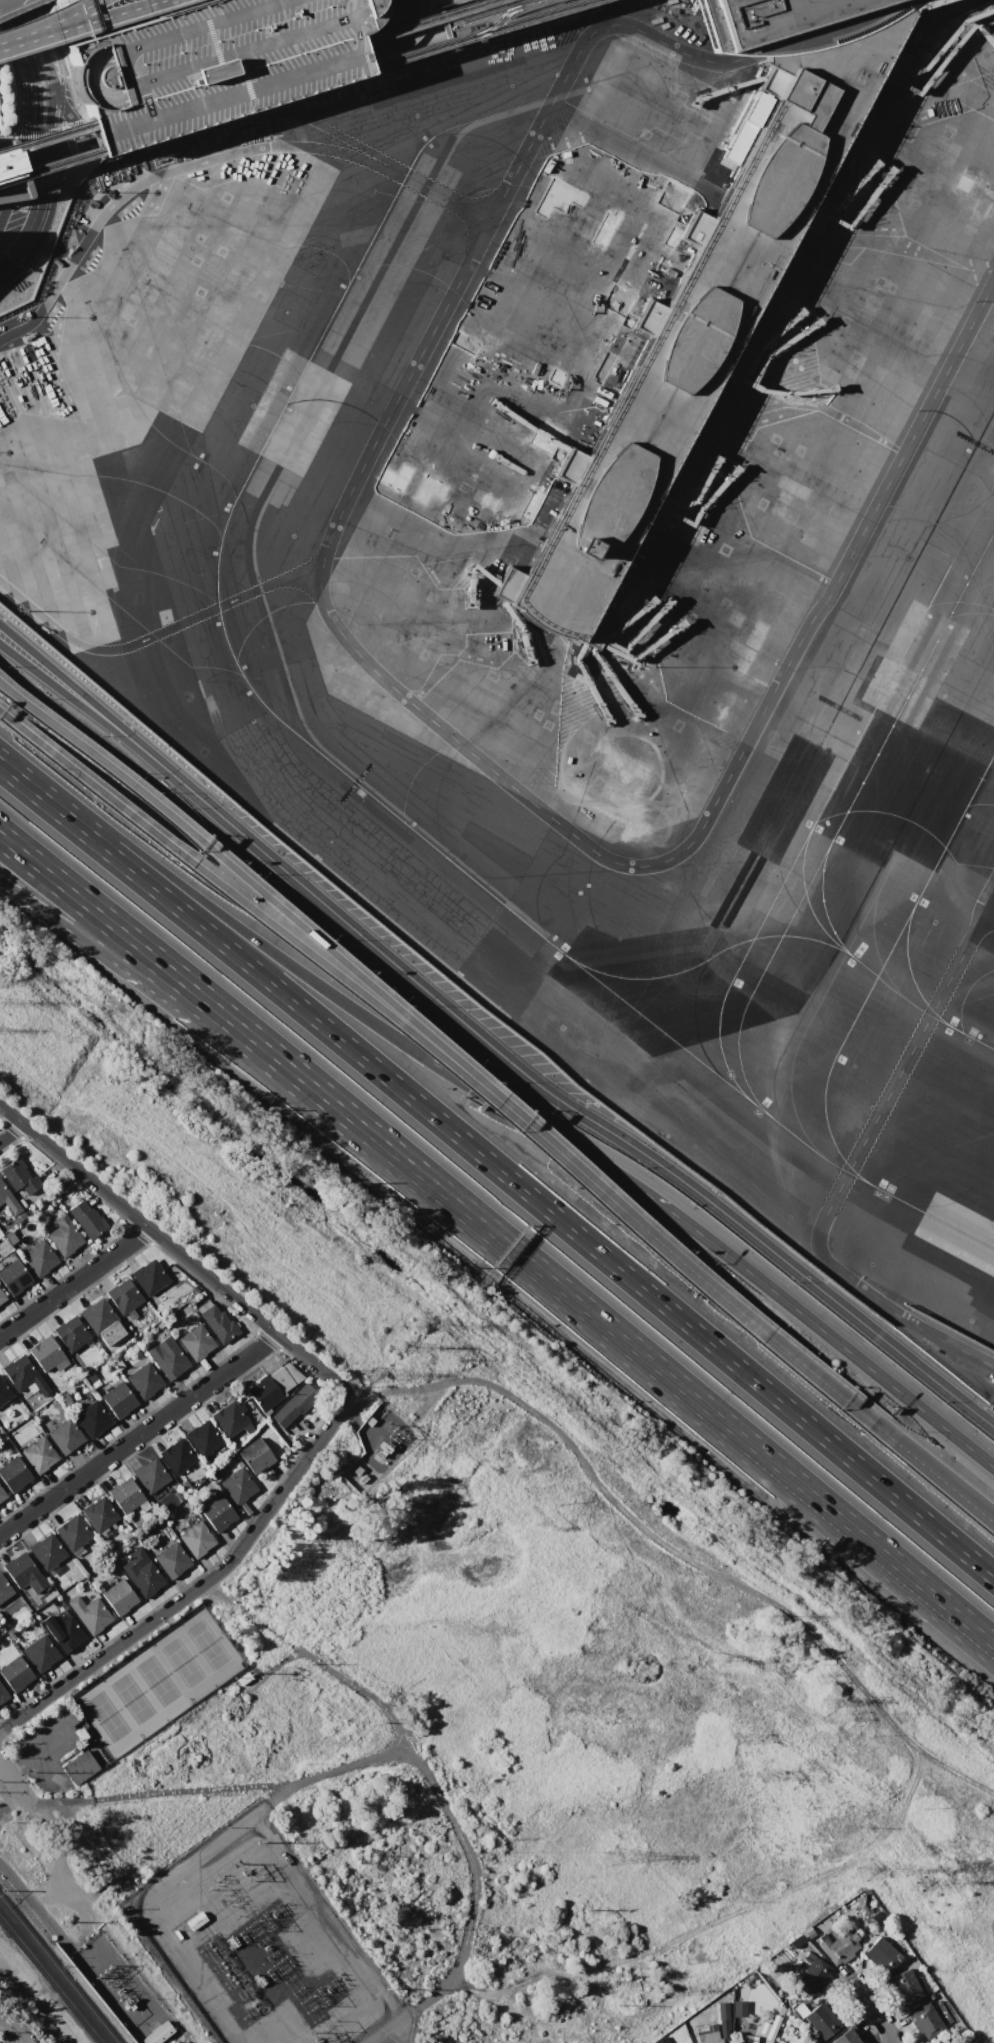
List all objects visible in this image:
road: (2, 1)
railway: (520, 3)
road: (9, 4)
road: (10, 7)
road: (85, 10)
road: (113, 10)
road: (953, 12)
road: (104, 15)
railway: (475, 17)
railway: (523, 17)
railway: (486, 22)
road: (435, 24)
road: (35, 32)
road: (19, 35)
road: (402, 39)
railway: (361, 43)
building: (211, 63)
parking lot: (211, 63)
road: (47, 70)
railway: (241, 74)
road: (225, 89)
road: (29, 104)
railway: (231, 108)
road: (63, 111)
road: (325, 128)
road: (69, 137)
road: (38, 148)
building: (9, 163)
road: (159, 174)
road: (15, 187)
road: (438, 193)
road: (759, 206)
road: (763, 208)
road: (41, 212)
airport terminal: (709, 287)
building: (709, 287)
airport apron: (134, 355)
road: (650, 413)
road: (653, 416)
airport apron: (797, 425)
road: (880, 494)
road: (332, 527)
airport: (563, 533)
road: (152, 634)
building: (692, 671)
road: (3, 685)
road: (3, 685)
airport taxiway: (873, 714)
road: (9, 719)
road: (105, 719)
road: (878, 769)
airport taxiway: (368, 794)
airport taxiway: (843, 815)
road: (225, 864)
road: (226, 889)
airport taxiway: (799, 899)
airport taxiway: (823, 905)
road: (215, 910)
road: (986, 916)
airport taxiway: (736, 942)
airport taxiway: (886, 954)
airport taxiway: (903, 962)
road: (168, 970)
road: (167, 995)
airport taxiway: (692, 1001)
airport taxiway: (918, 1005)
road: (596, 1124)
road: (11, 1132)
road: (548, 1134)
road: (852, 1159)
road: (498, 1169)
building: (19, 1176)
building: (10, 1204)
building: (87, 1217)
building: (62, 1235)
road: (666, 1247)
road: (174, 1249)
building: (38, 1258)
building: (13, 1276)
building: (149, 1277)
road: (74, 1282)
building: (124, 1295)
building: (2, 1298)
road: (585, 1311)
building: (97, 1316)
building: (217, 1322)
power tower: (419, 1326)
building: (70, 1332)
road: (830, 1337)
building: (196, 1342)
power tower: (396, 1349)
building: (44, 1353)
road: (945, 1354)
building: (169, 1361)
building: (87, 1376)
building: (24, 1379)
building: (144, 1380)
power tower: (379, 1380)
building: (4, 1392)
building: (264, 1393)
building: (118, 1399)
building: (293, 1406)
building: (229, 1418)
building: (92, 1419)
road: (139, 1435)
building: (64, 1436)
building: (203, 1438)
power substation: (378, 1446)
building: (38, 1454)
building: (176, 1455)
building: (255, 1455)
building: (13, 1474)
building: (150, 1475)
road: (945, 1481)
building: (237, 1485)
building: (124, 1494)
building: (2, 1496)
building: (218, 1513)
building: (99, 1514)
building: (72, 1532)
building: (196, 1539)
building: (46, 1551)
road: (672, 1556)
building: (171, 1560)
building: (141, 1572)
building: (22, 1573)
road: (916, 1579)
road: (197, 1587)
building: (4, 1588)
building: (119, 1597)
building: (89, 1613)
power tower: (768, 1615)
building: (63, 1630)
power tower: (757, 1649)
building: (40, 1653)
power tower: (730, 1666)
road: (274, 1668)
building: (15, 1674)
park: (156, 1680)
road: (363, 1692)
building: (2, 1693)
power tower: (837, 1702)
park: (522, 1727)
power tower: (750, 1766)
building: (79, 1767)
road: (13, 1780)
road: (172, 1795)
road: (6, 1799)
road: (12, 1806)
road: (456, 1827)
power tower: (614, 1862)
power tower: (950, 1868)
power tower: (867, 1871)
power tower: (924, 1883)
road: (719, 1917)
building: (195, 1920)
building: (836, 1945)
building: (882, 1954)
power substation: (241, 1955)
railway: (58, 1970)
building: (814, 1974)
railway: (51, 1979)
building: (904, 1986)
building: (738, 2008)
road: (878, 2014)
building: (822, 2019)
building: (722, 2020)
building: (926, 2020)
road: (11, 2028)
building: (706, 2033)
building: (157, 2034)
building: (765, 2036)
building: (845, 2037)
building: (746, 2038)
building: (658, 2040)

